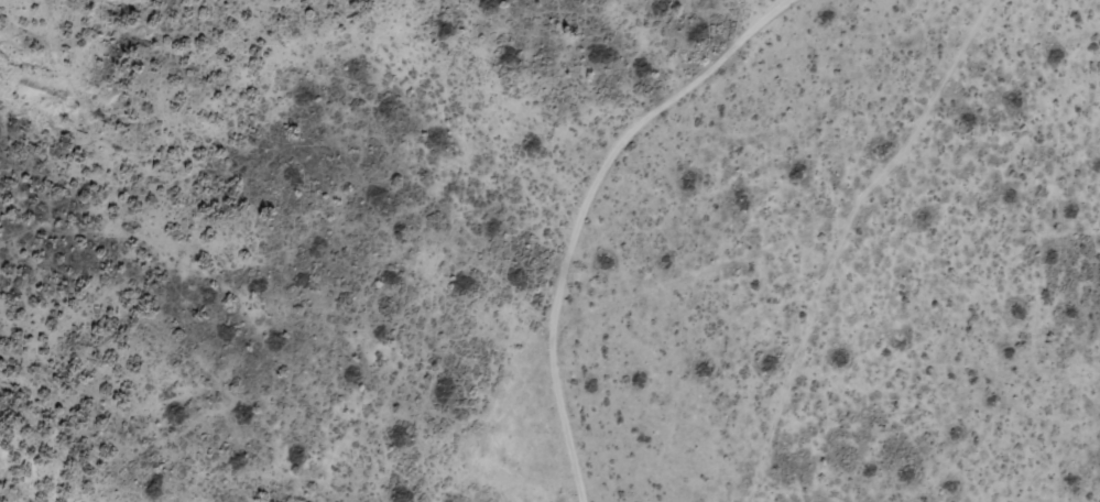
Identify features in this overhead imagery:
road: (549, 207)

